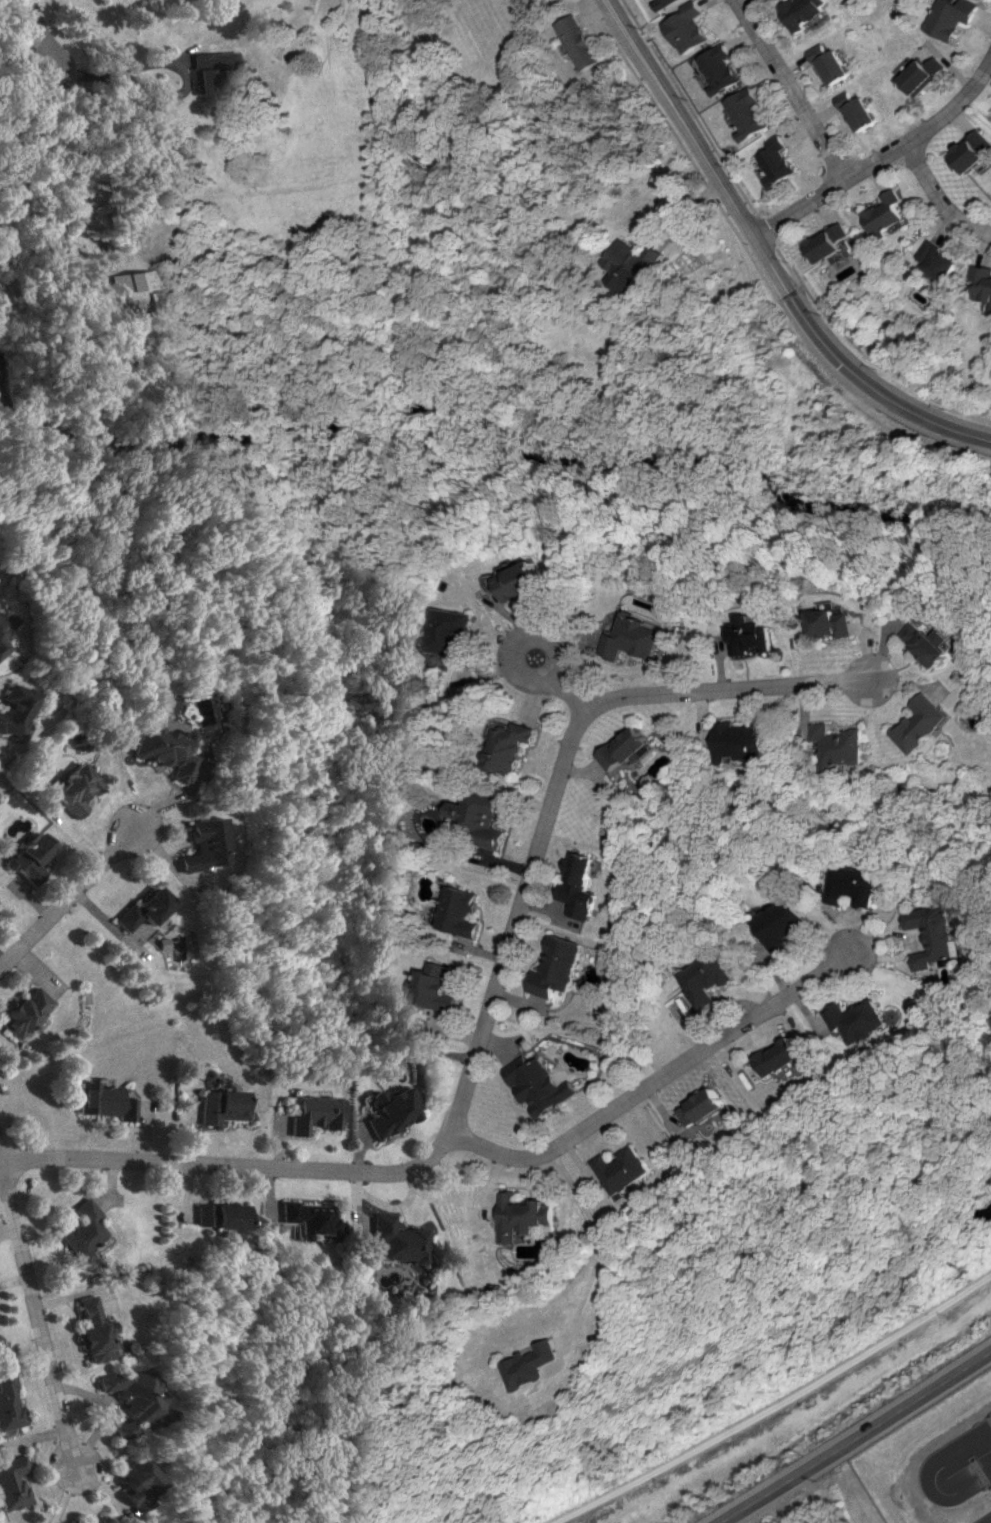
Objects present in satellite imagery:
building: (667, 3)
building: (803, 12)
building: (951, 17)
building: (691, 28)
road: (38, 30)
building: (580, 42)
road: (21, 51)
road: (155, 64)
building: (830, 64)
building: (721, 69)
building: (924, 75)
building: (204, 81)
road: (793, 91)
building: (860, 111)
building: (749, 113)
building: (974, 151)
road: (884, 160)
building: (780, 163)
road: (942, 198)
building: (887, 213)
building: (832, 242)
road: (768, 254)
building: (943, 261)
building: (634, 265)
building: (128, 280)
building: (985, 282)
building: (520, 582)
building: (828, 621)
building: (4, 624)
building: (453, 633)
building: (749, 636)
building: (632, 637)
building: (927, 643)
building: (0, 648)
road: (560, 685)
road: (726, 691)
building: (13, 709)
building: (923, 723)
building: (744, 741)
building: (509, 746)
building: (841, 747)
building: (161, 749)
building: (626, 749)
building: (76, 789)
building: (481, 818)
building: (204, 845)
building: (33, 858)
building: (853, 885)
building: (578, 886)
road: (66, 904)
building: (146, 908)
building: (458, 912)
road: (516, 922)
building: (782, 924)
building: (933, 935)
building: (555, 967)
building: (709, 979)
building: (432, 988)
building: (29, 1012)
building: (855, 1020)
building: (775, 1057)
road: (657, 1081)
building: (536, 1085)
building: (106, 1101)
building: (221, 1106)
building: (393, 1111)
building: (315, 1114)
road: (2, 1158)
road: (234, 1169)
building: (619, 1170)
building: (217, 1215)
building: (518, 1215)
building: (306, 1219)
building: (85, 1231)
building: (397, 1240)
road: (603, 1243)
road: (39, 1319)
building: (97, 1331)
building: (532, 1365)
building: (135, 1394)
building: (9, 1402)
road: (777, 1406)
building: (122, 1429)
road: (858, 1438)
road: (922, 1451)
wastewater plant: (926, 1466)
building: (10, 1481)
building: (134, 1485)

